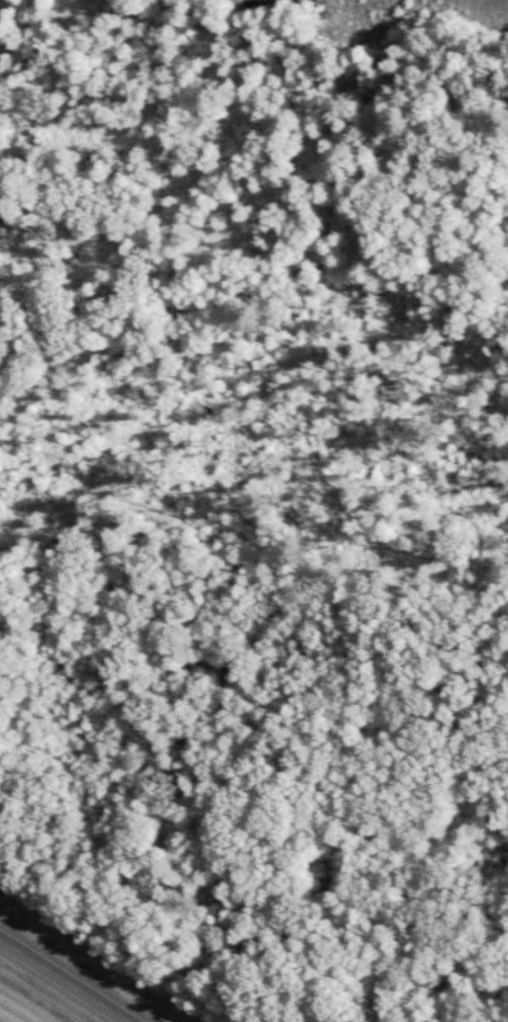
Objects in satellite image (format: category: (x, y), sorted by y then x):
road: (65, 979)
road: (3, 1019)

